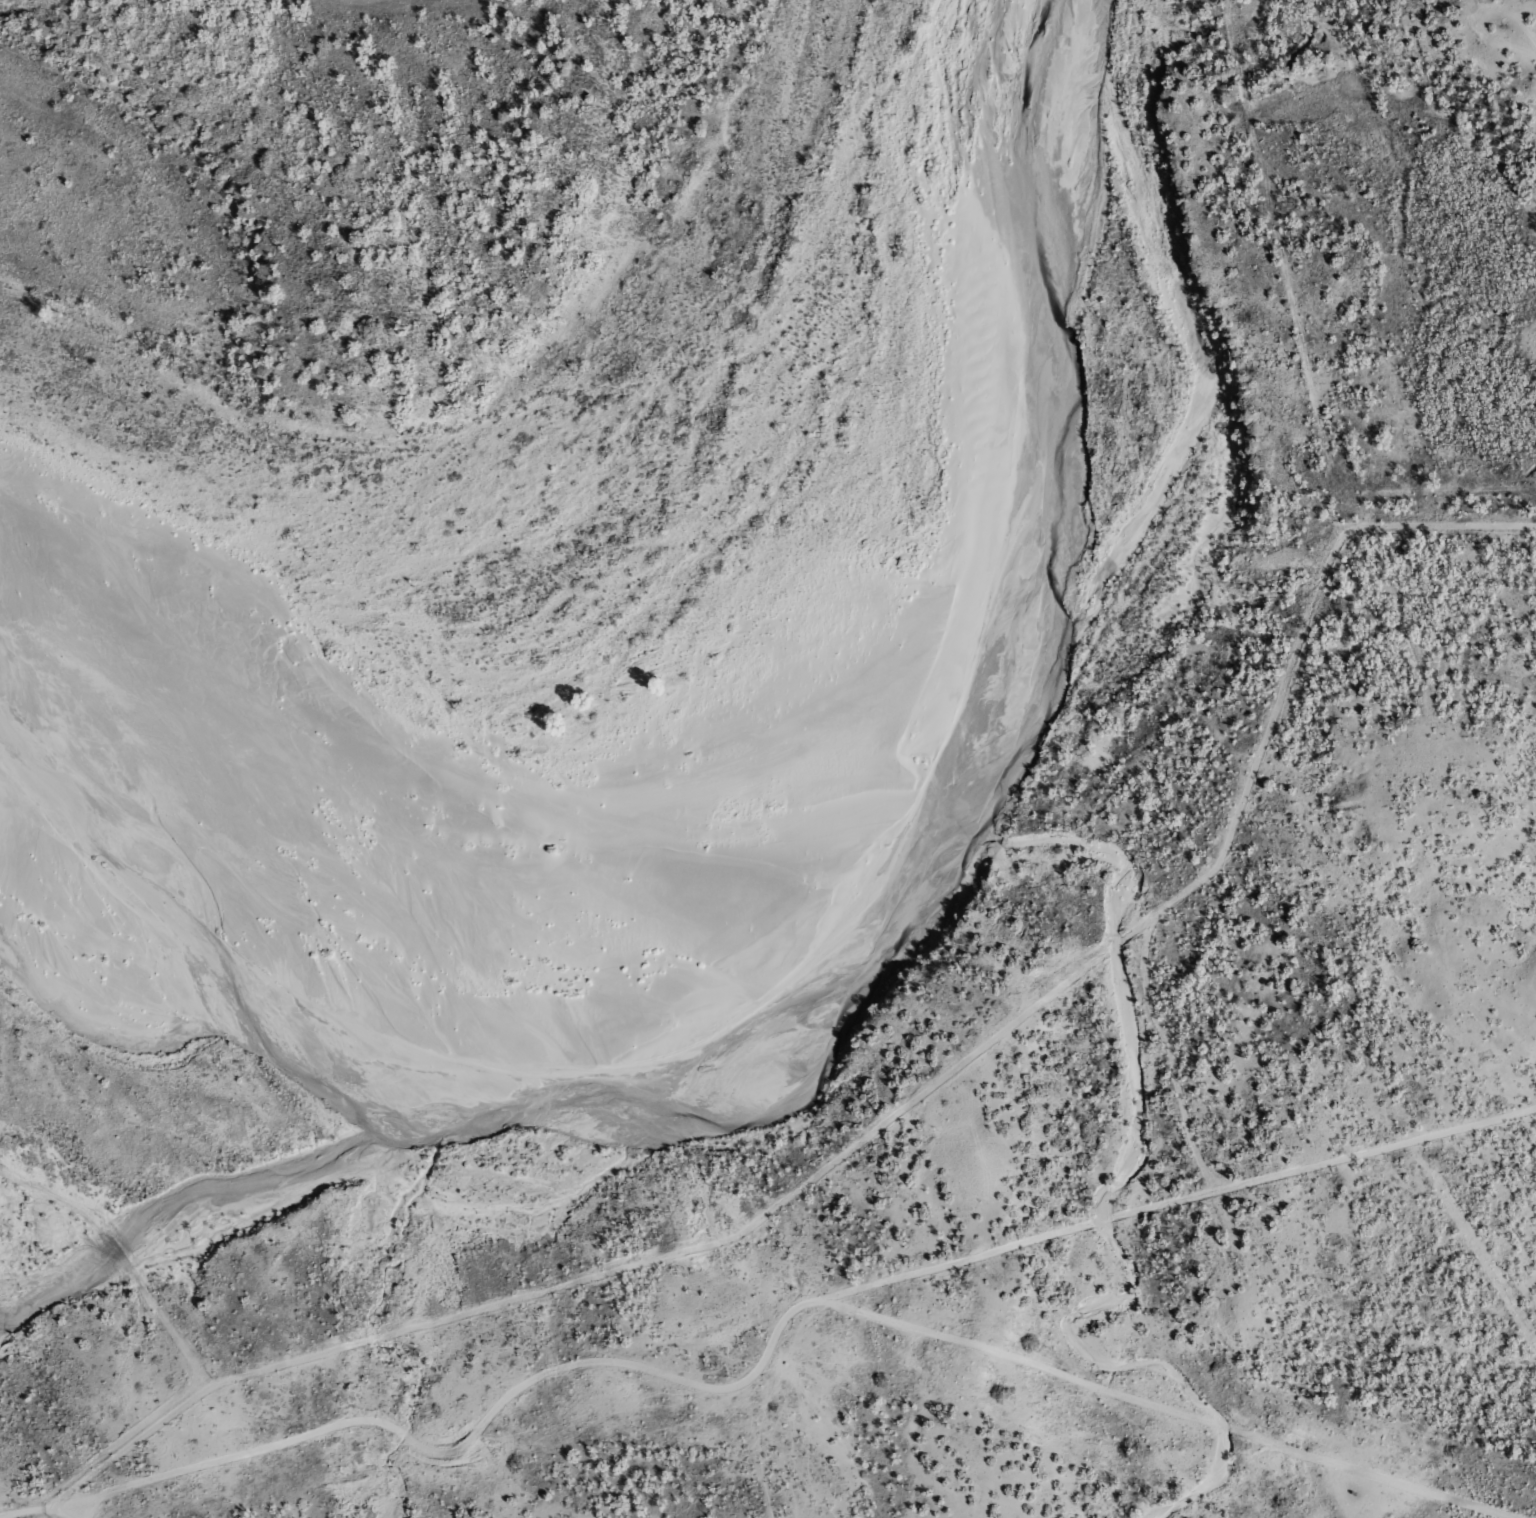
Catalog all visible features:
road: (1471, 50)
river: (853, 967)

